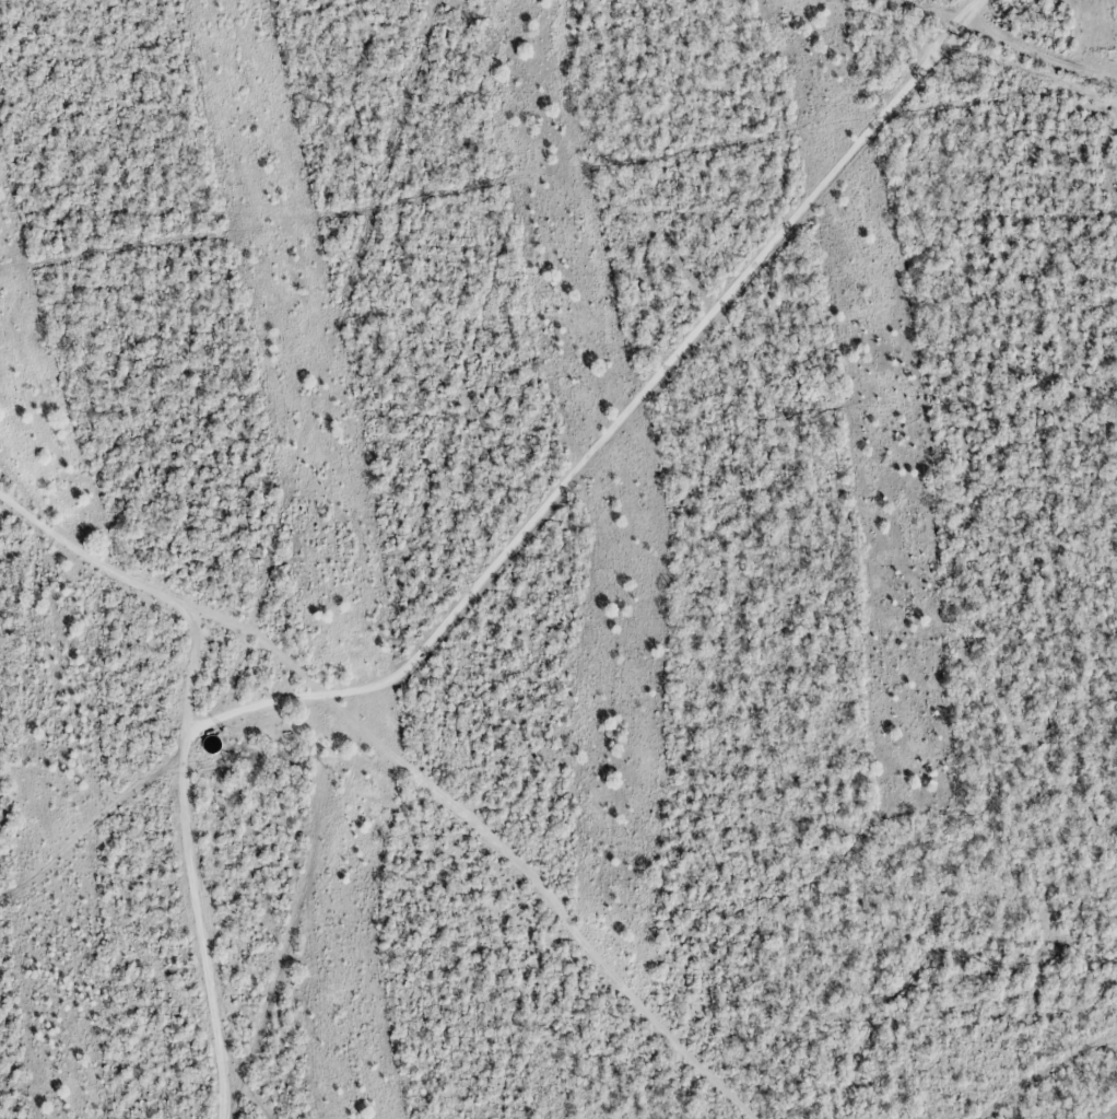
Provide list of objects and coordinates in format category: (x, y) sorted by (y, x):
road: (398, 771)

